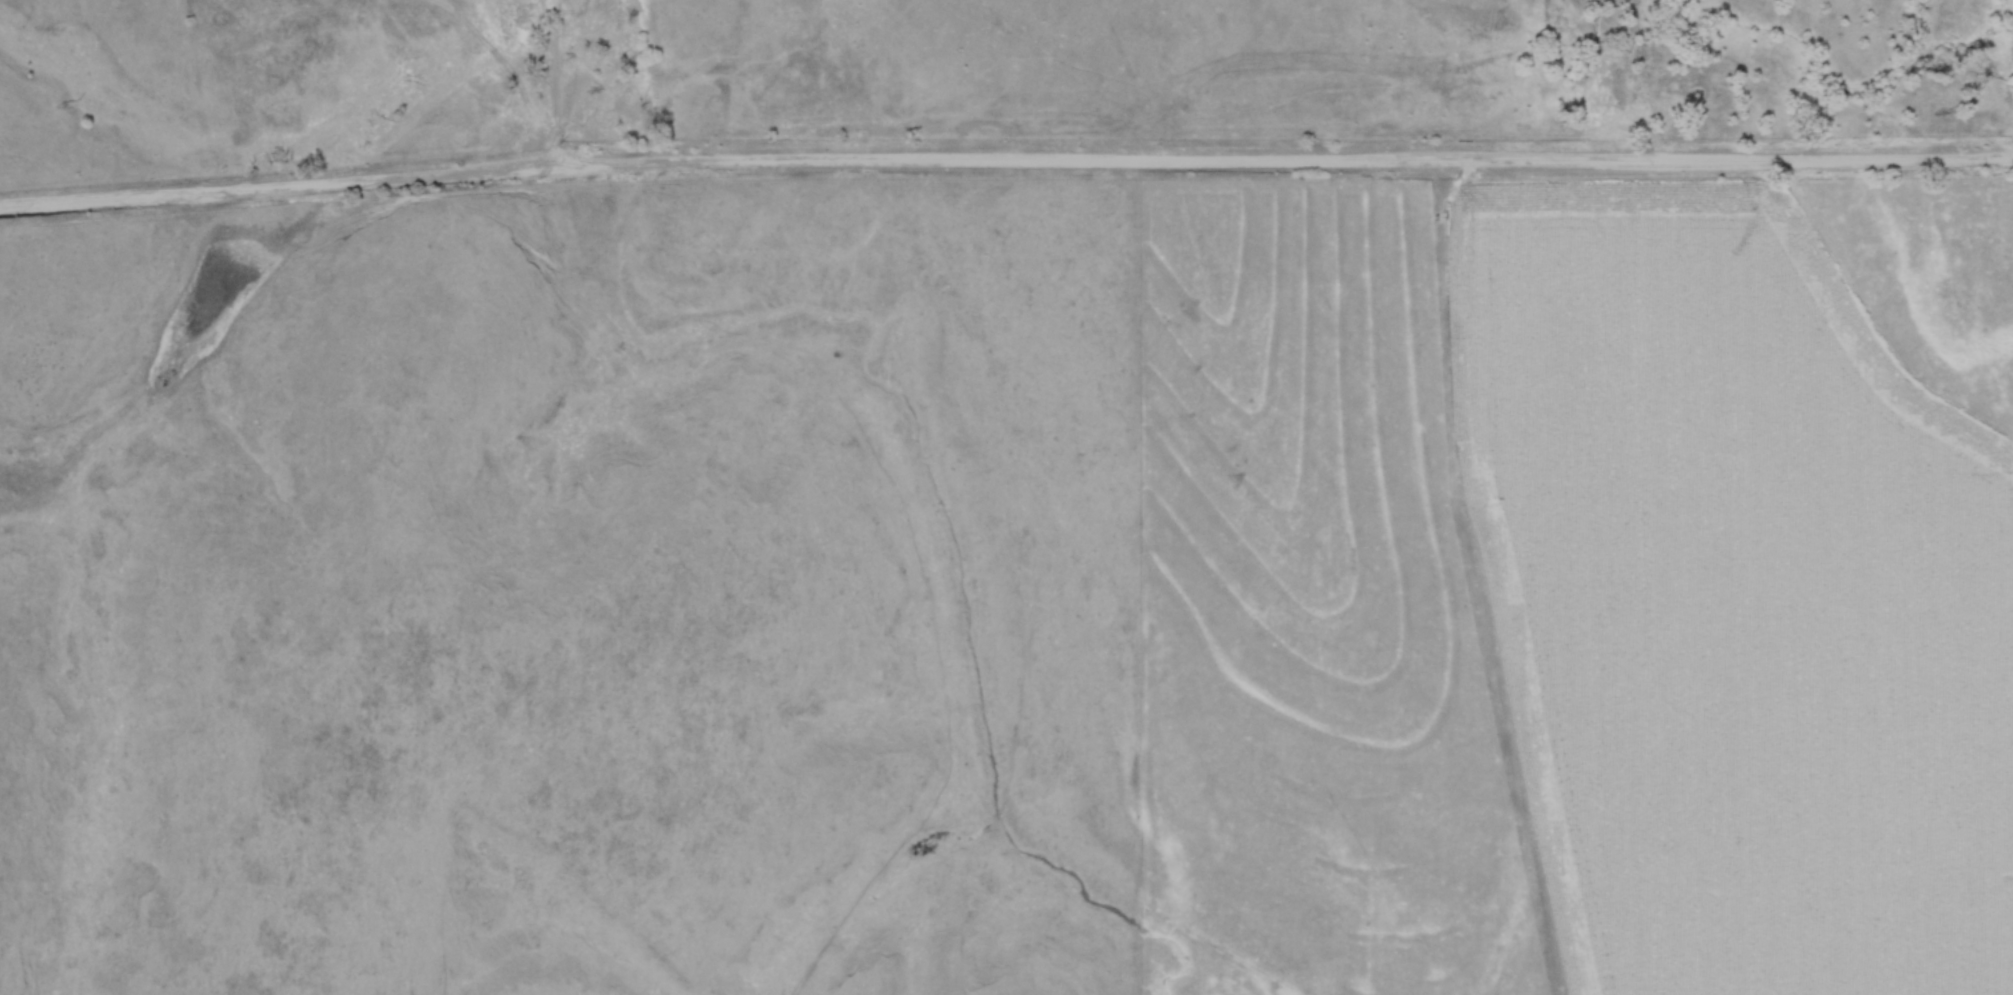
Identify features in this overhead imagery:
road: (1005, 161)
crop: (1736, 602)

